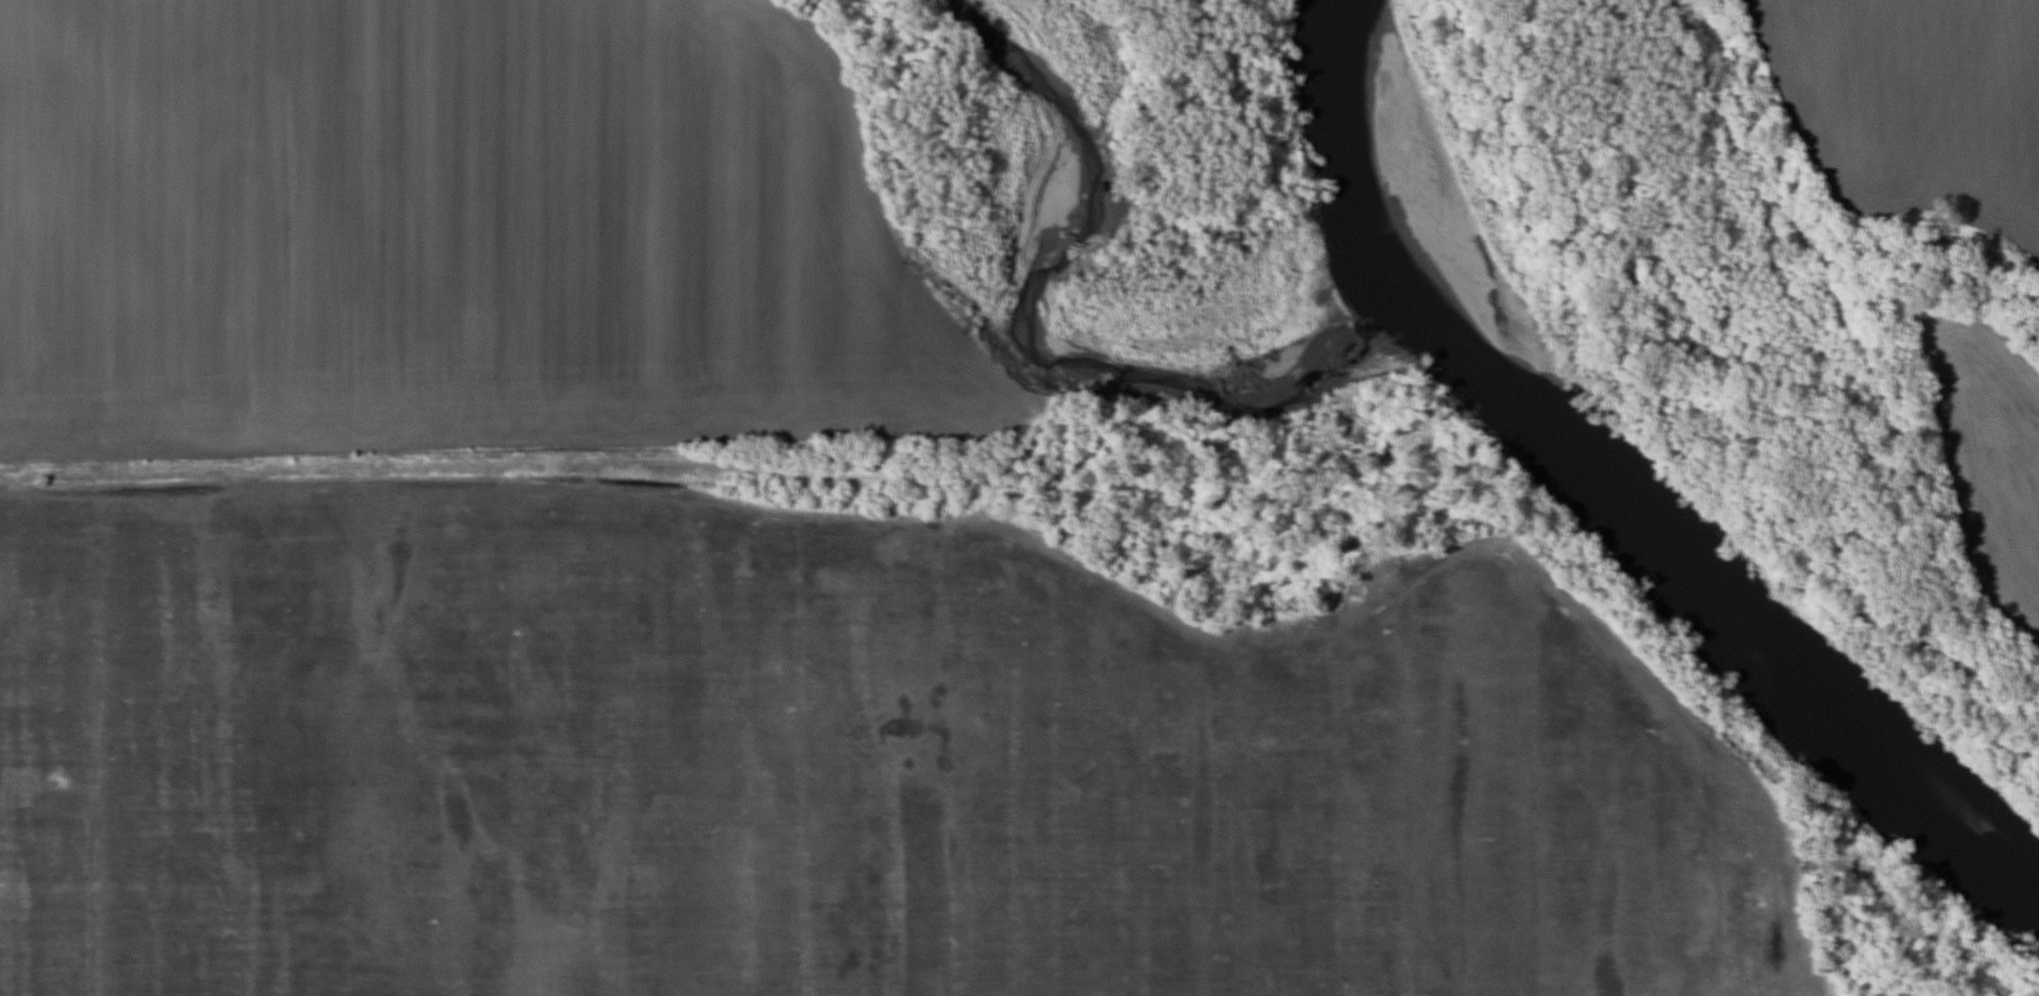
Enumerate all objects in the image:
road: (445, 463)
river: (1609, 481)

